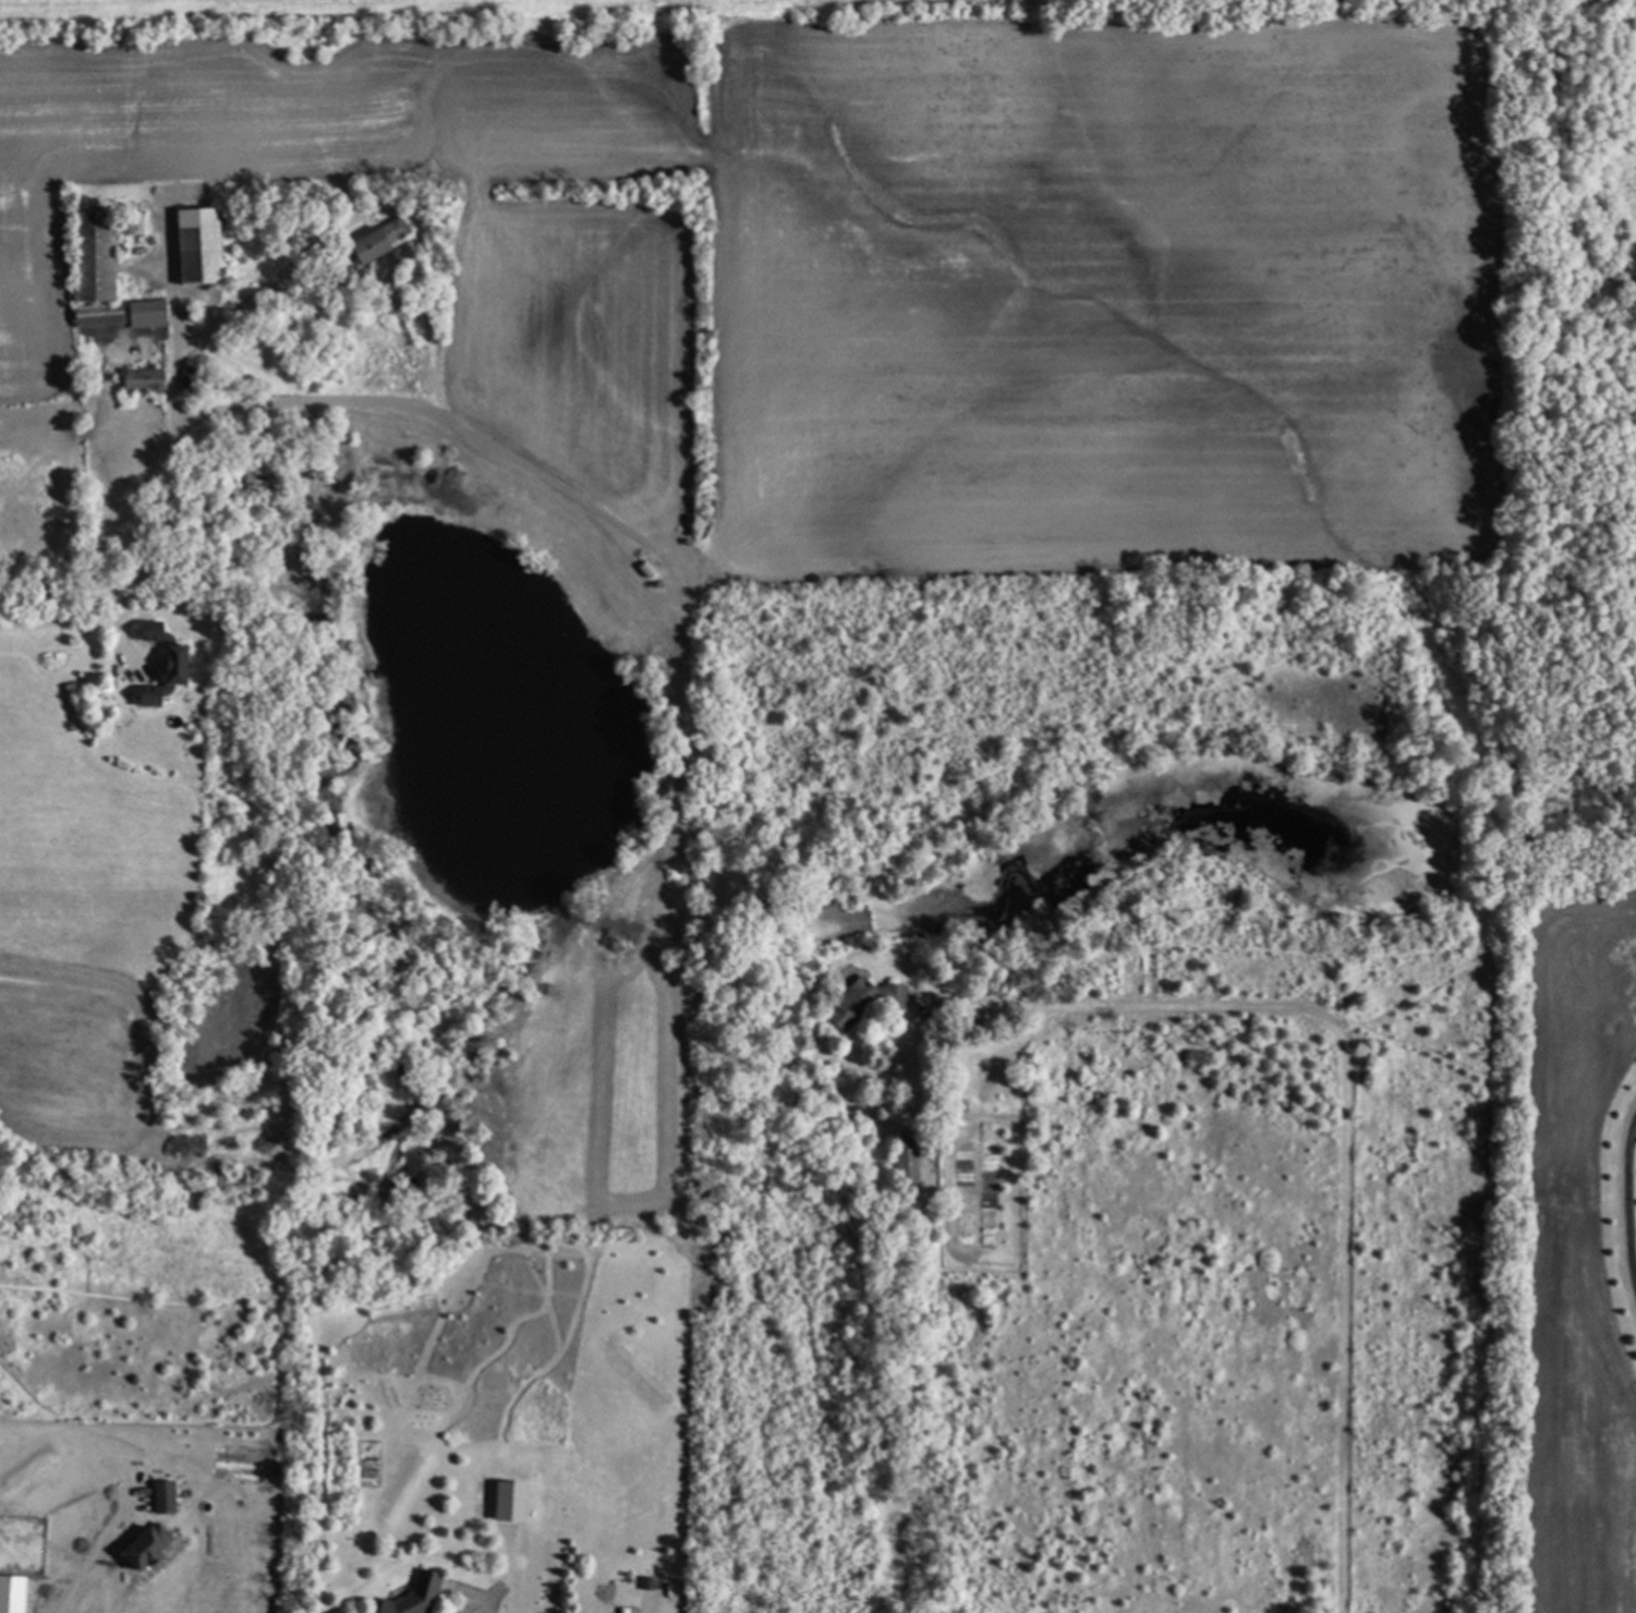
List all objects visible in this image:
crop: (1535, 0)
building: (369, 239)
building: (191, 245)
building: (86, 258)
crop: (862, 262)
road: (286, 268)
building: (142, 314)
building: (92, 315)
building: (136, 380)
road: (174, 460)
building: (146, 630)
building: (157, 678)
building: (859, 1000)
road: (1342, 1126)
road: (1625, 1198)
building: (160, 1497)
building: (502, 1502)
building: (137, 1548)
road: (78, 1568)
building: (10, 1594)
building: (408, 1598)
building: (337, 1611)

